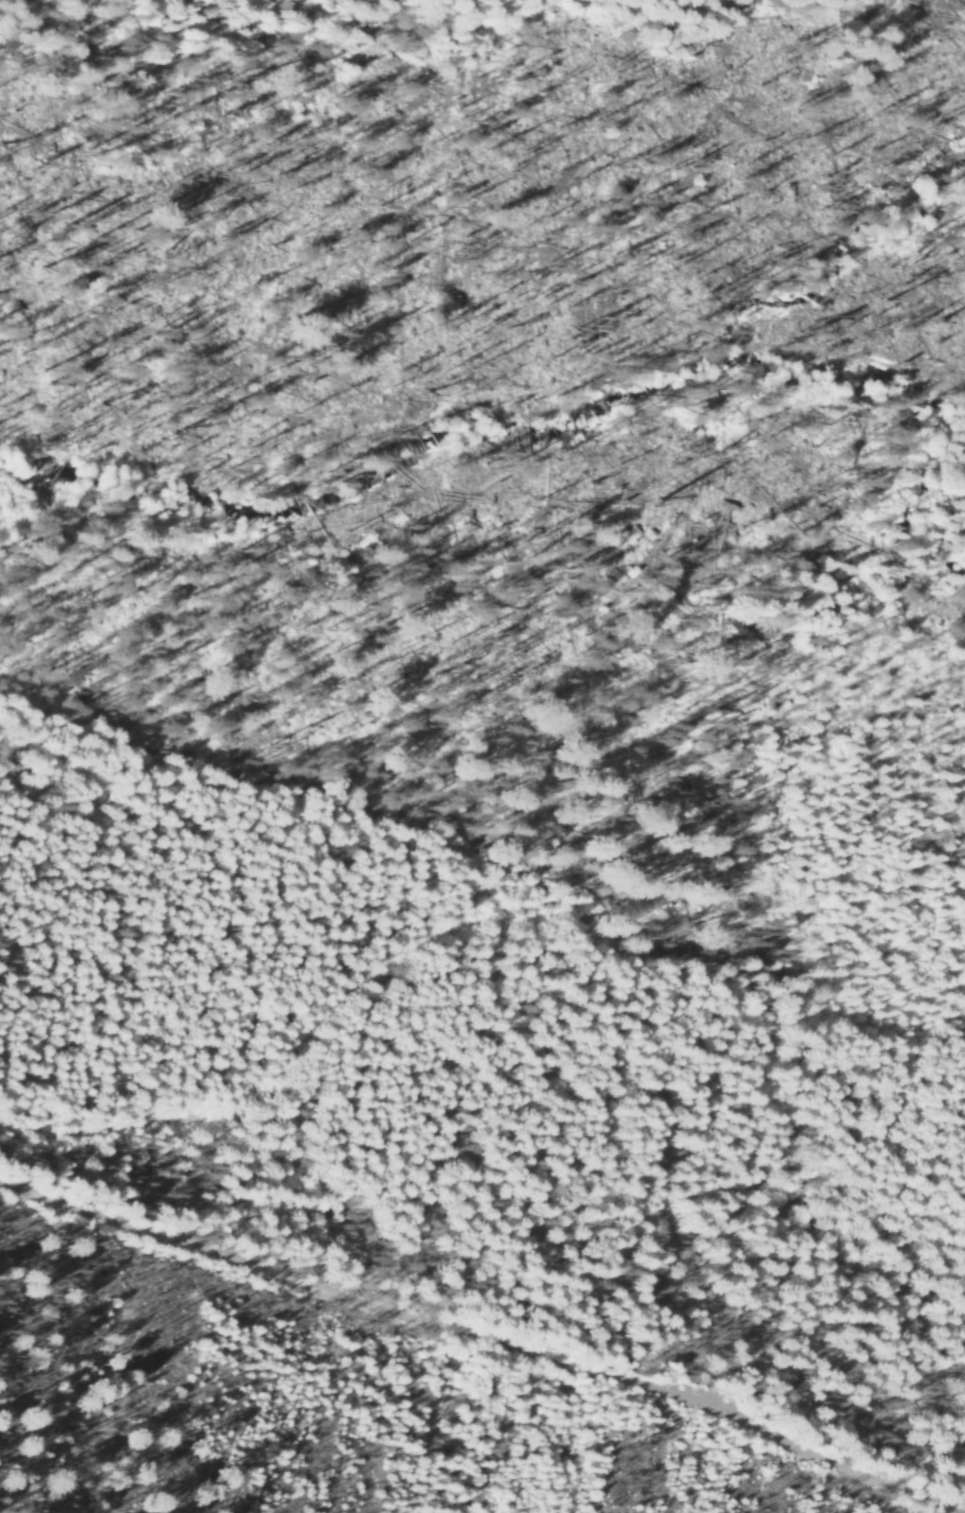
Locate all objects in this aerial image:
road: (485, 1344)

